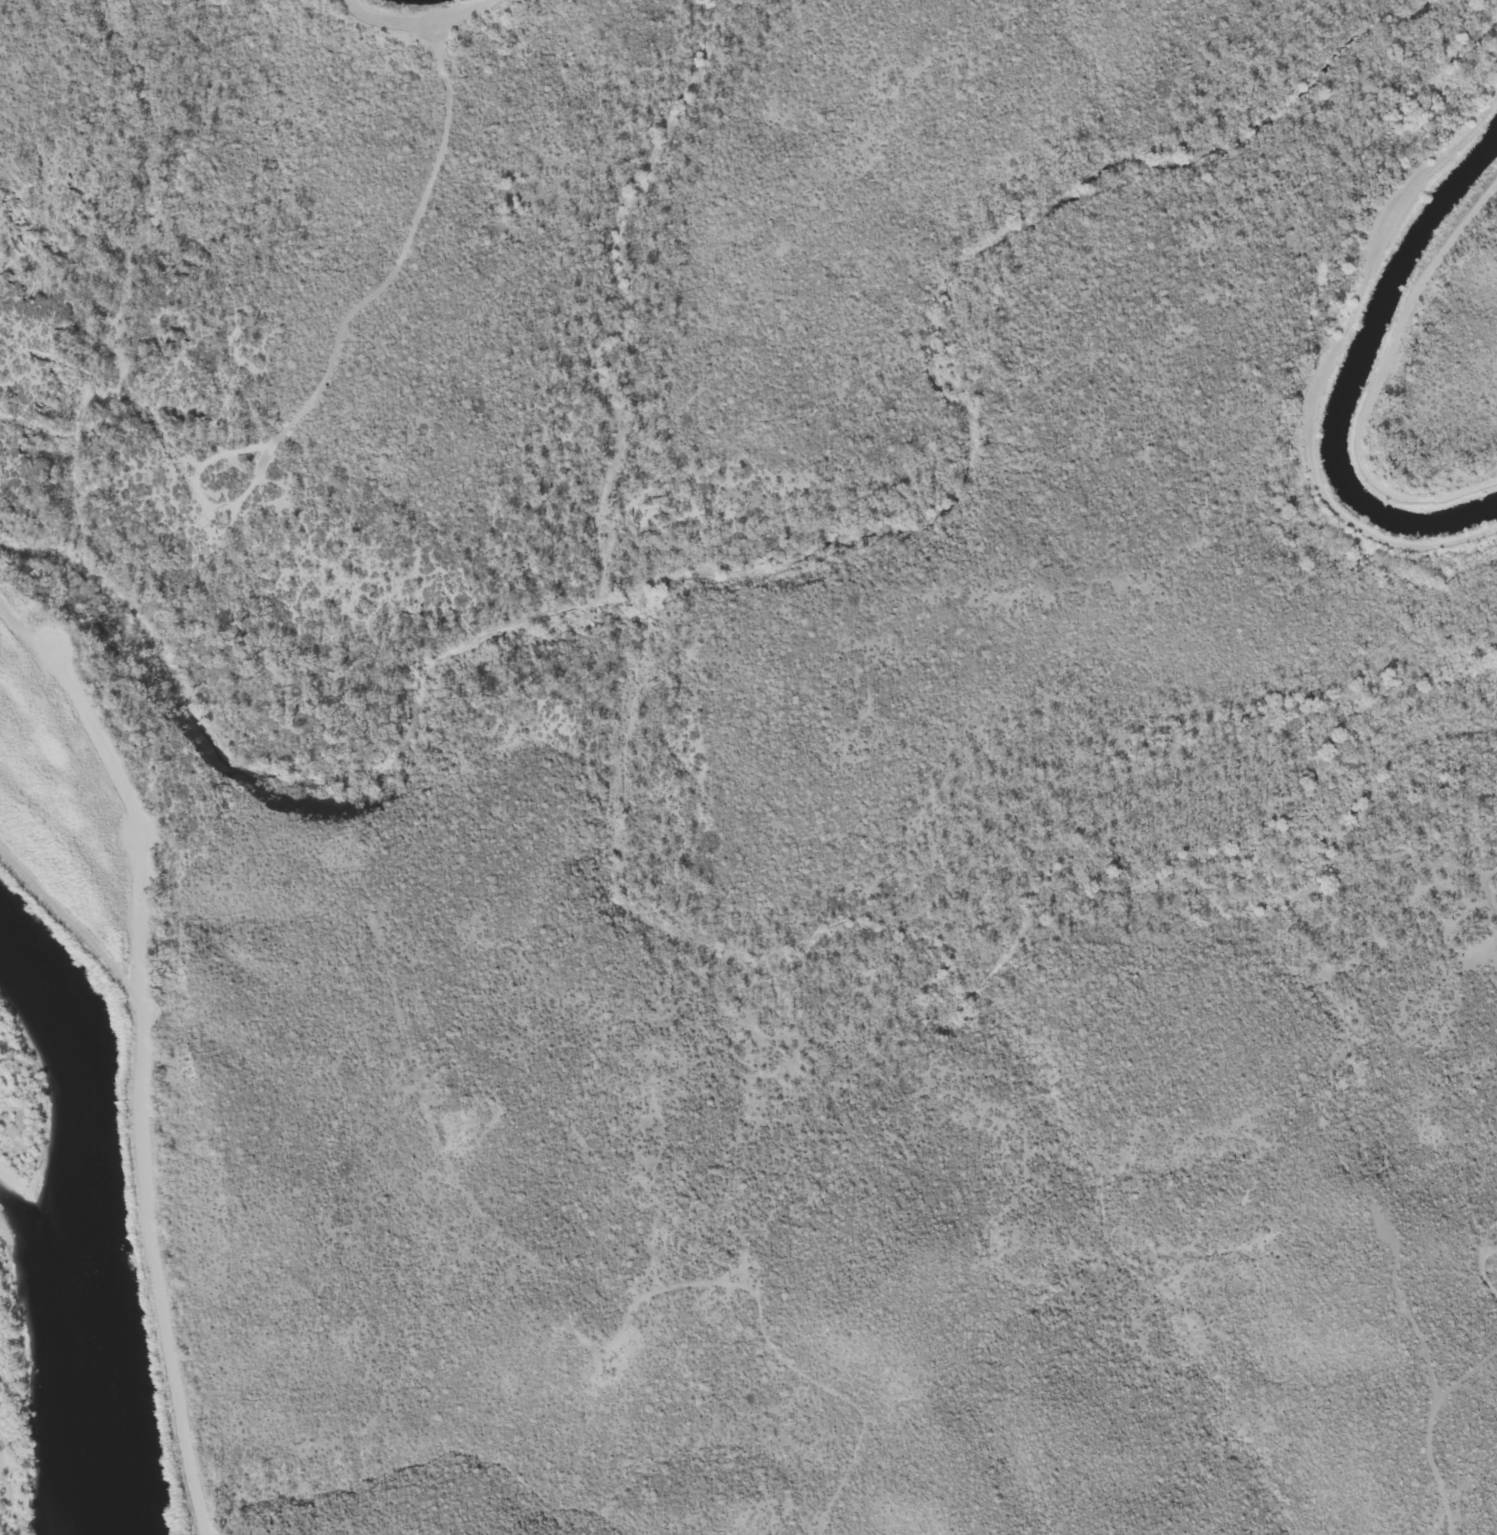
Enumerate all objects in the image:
road: (448, 70)
road: (137, 1077)
river: (74, 1237)

